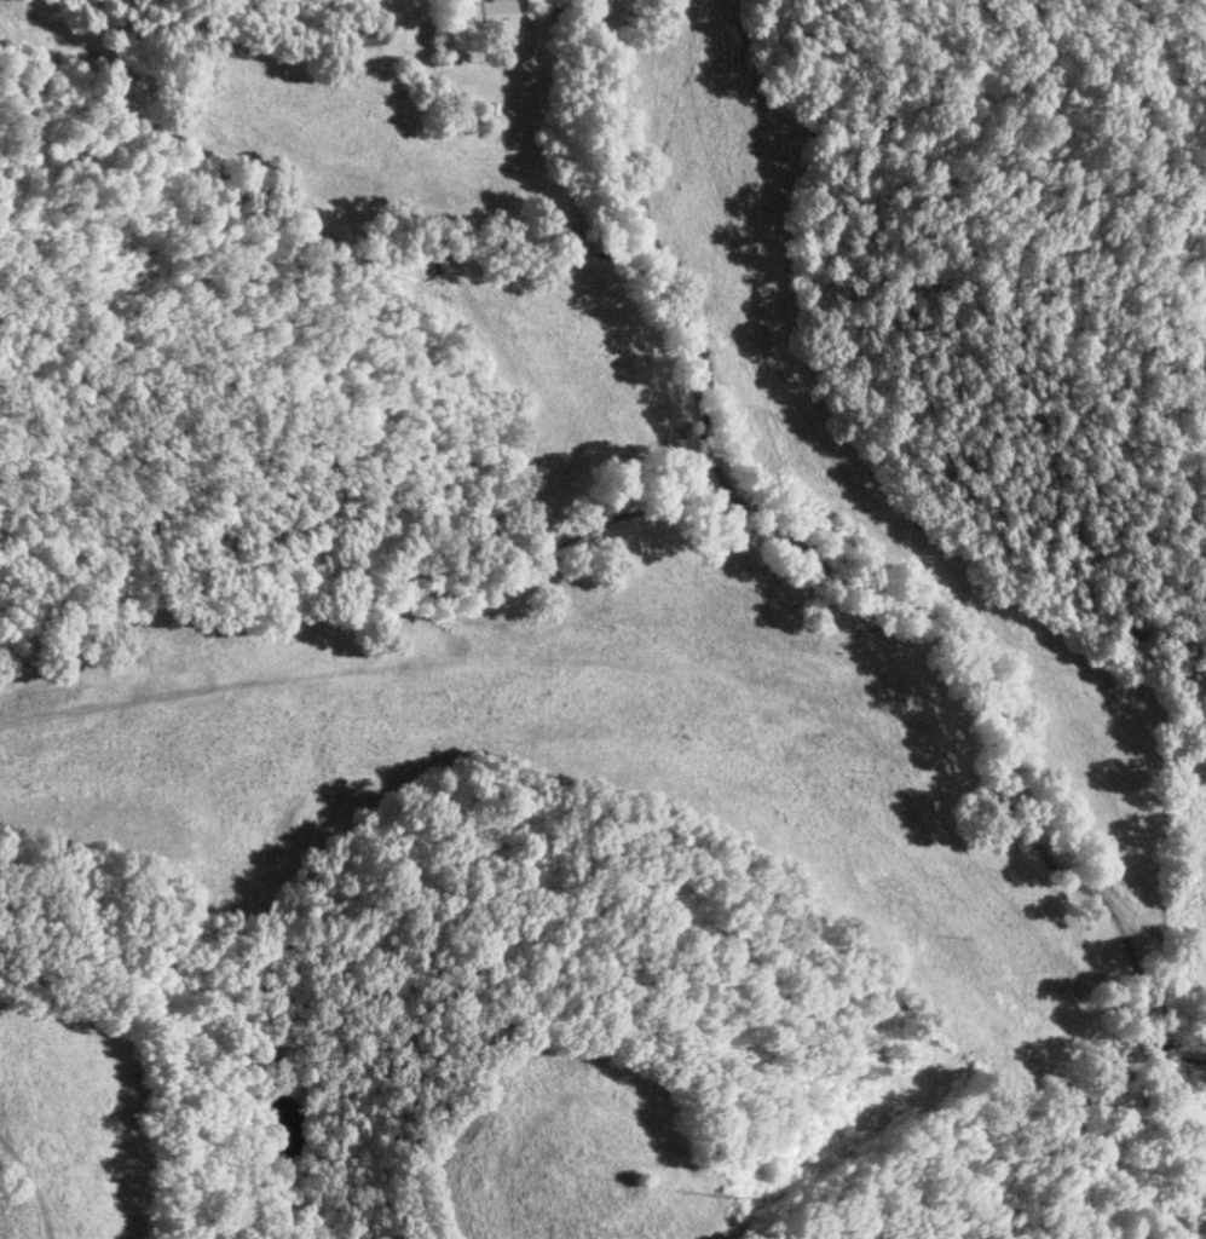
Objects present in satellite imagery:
building: (487, 13)

